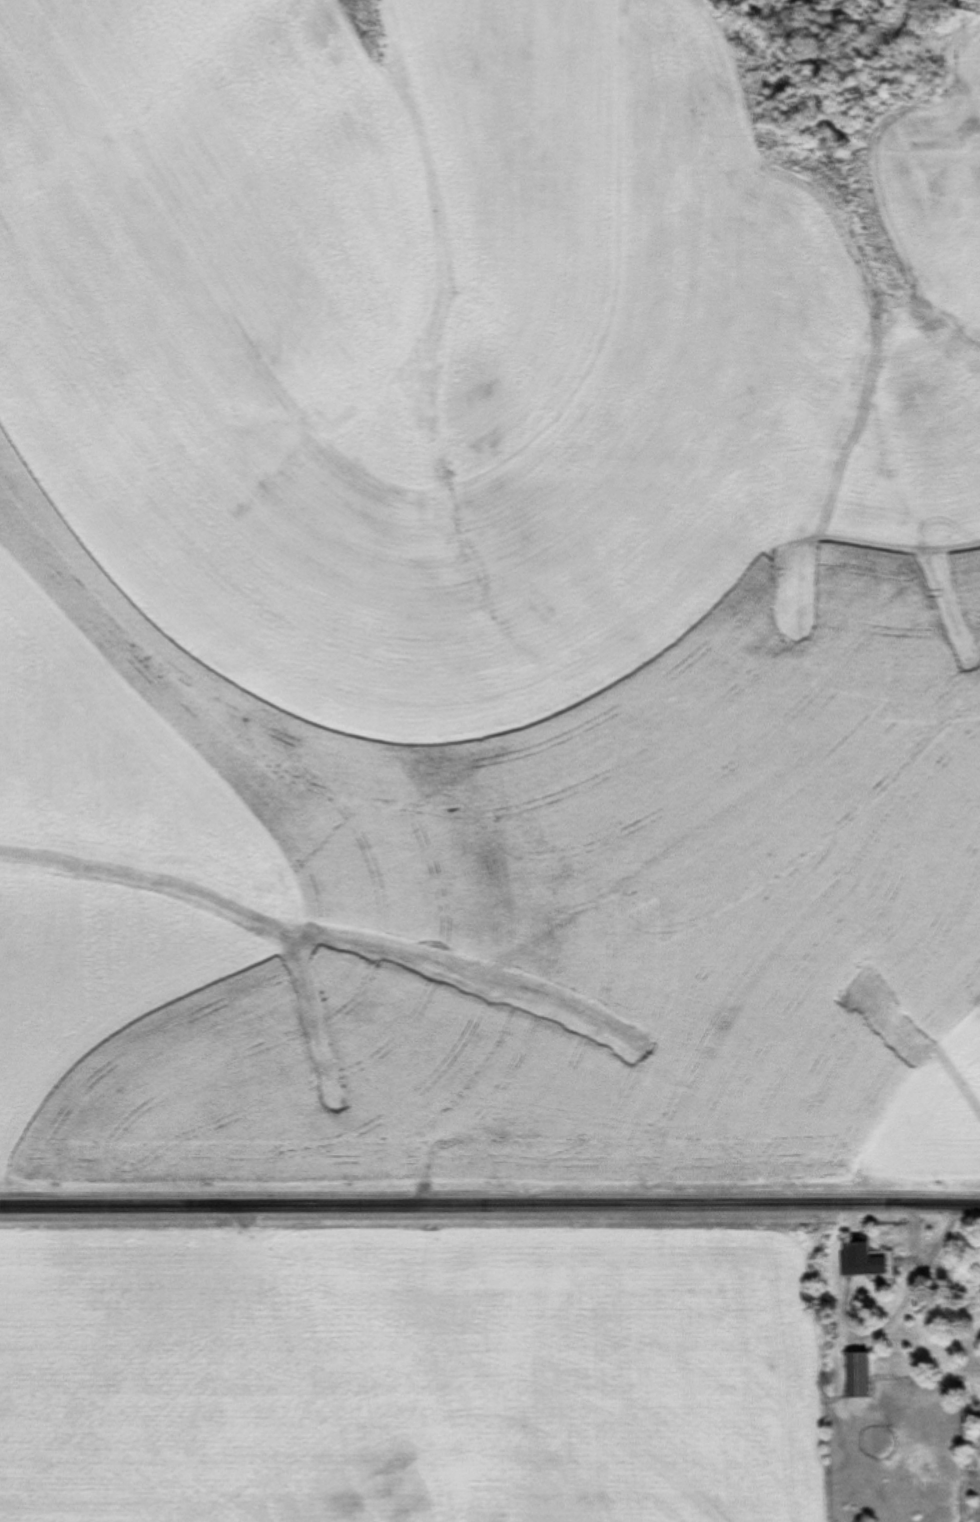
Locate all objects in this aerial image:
road: (490, 1190)
building: (857, 1258)
building: (865, 1375)

